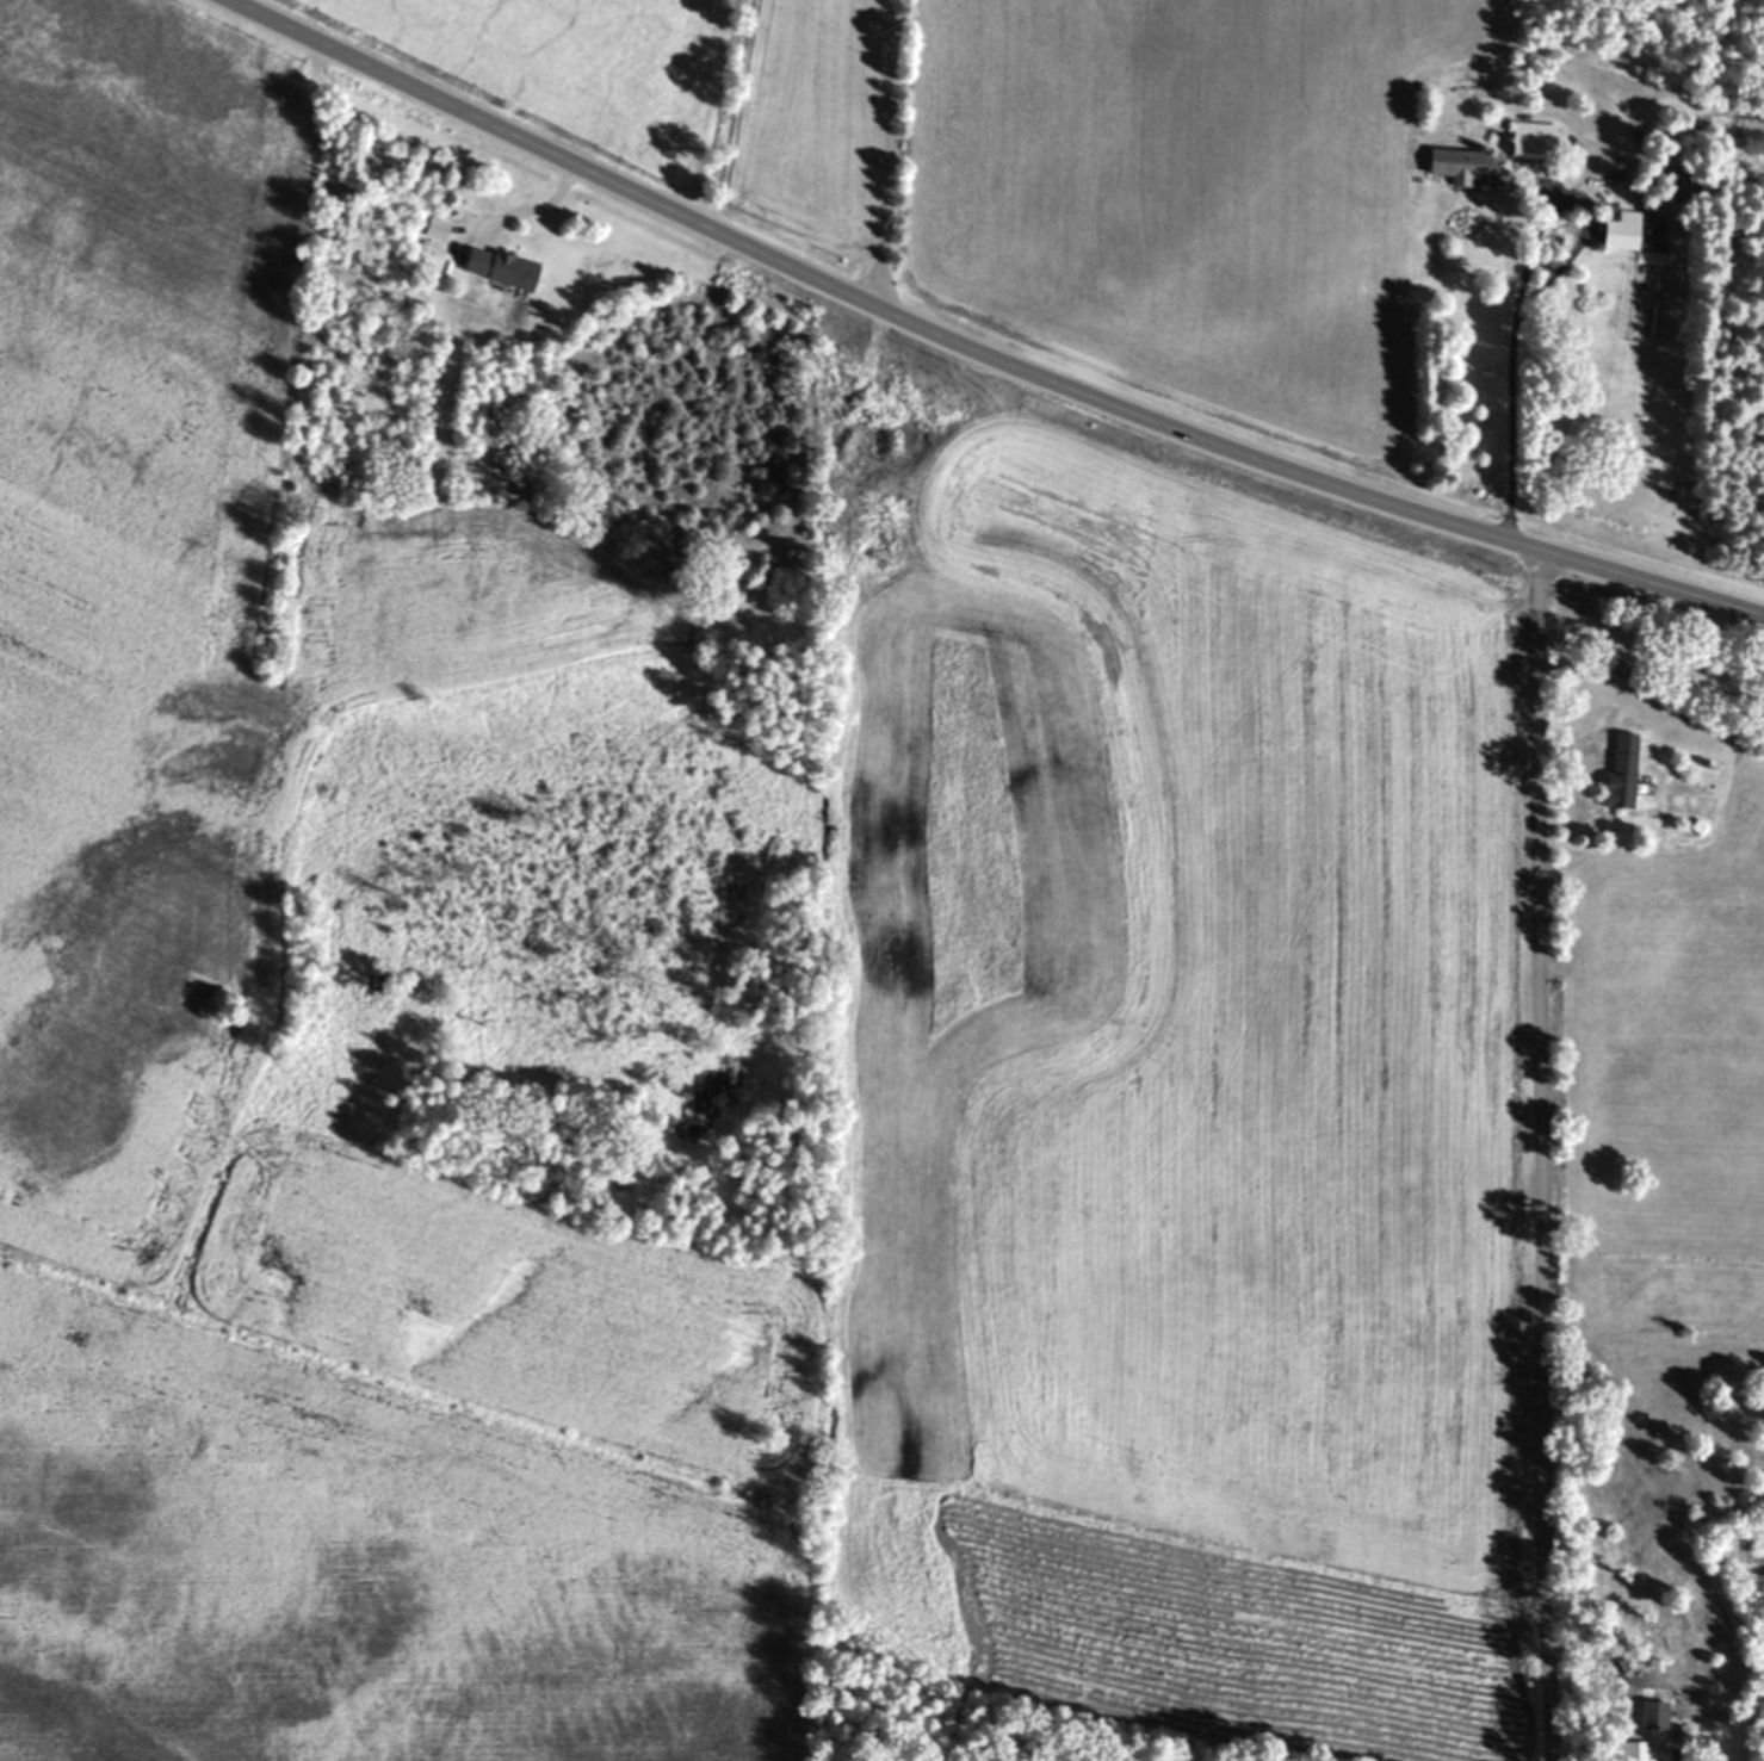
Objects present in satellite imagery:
building: (1533, 144)
road: (895, 154)
building: (1473, 170)
building: (1626, 236)
building: (502, 268)
road: (982, 347)
road: (1514, 368)
building: (1623, 770)
road: (1542, 1159)
building: (1647, 1729)
building: (1624, 1757)

